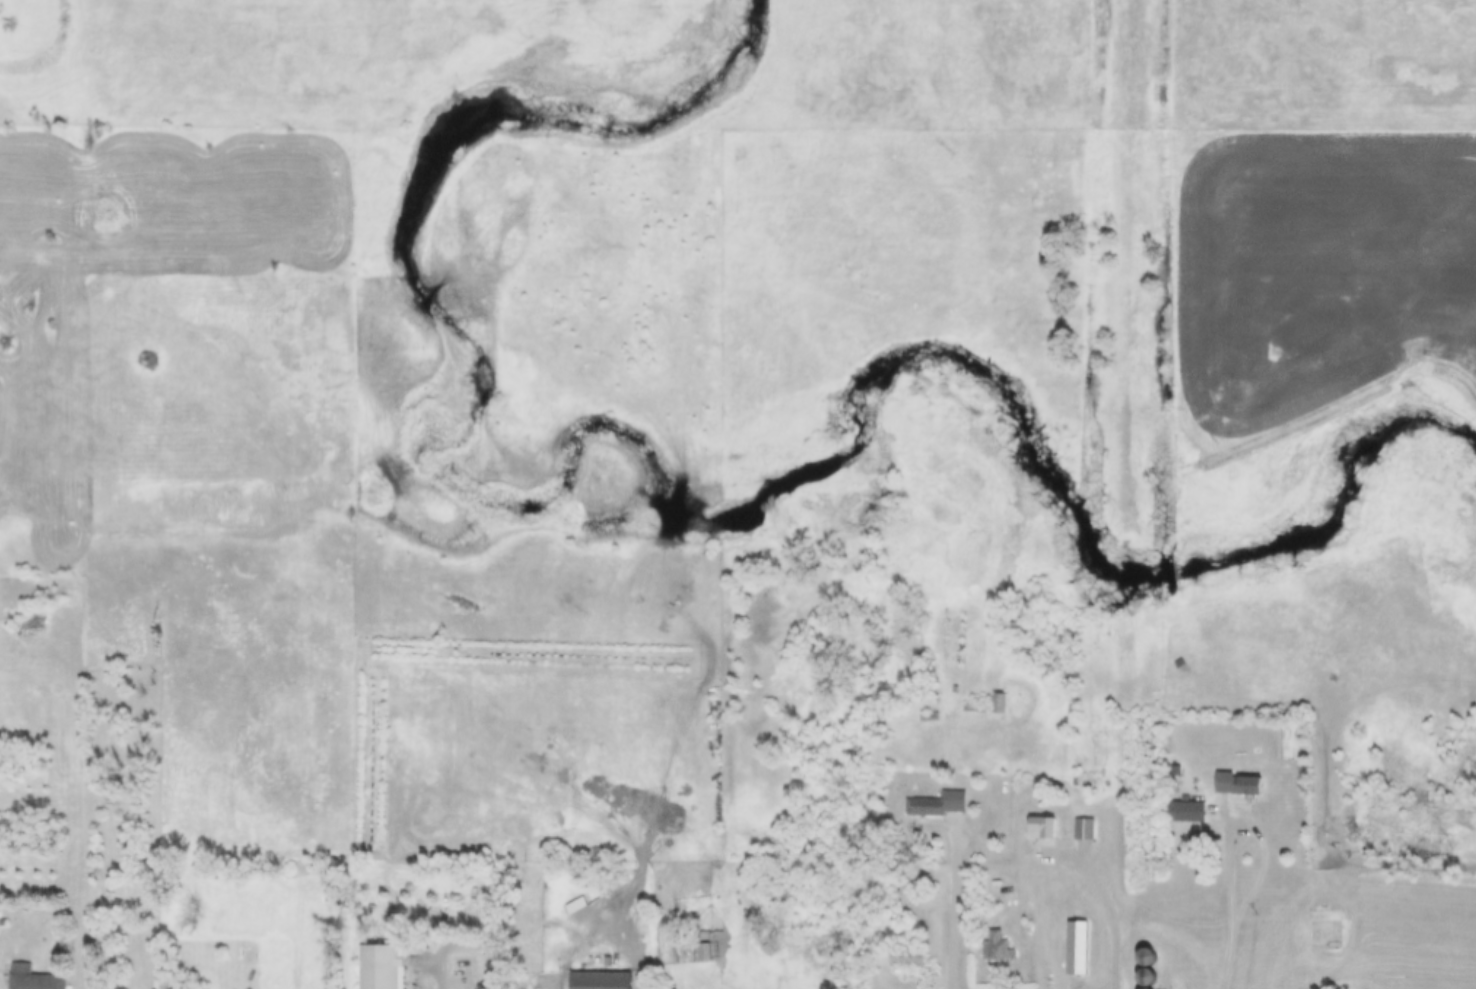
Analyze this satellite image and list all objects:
building: (998, 702)
building: (1237, 783)
building: (937, 804)
building: (1185, 810)
building: (1041, 827)
building: (1082, 829)
road: (1232, 893)
road: (1109, 898)
road: (955, 906)
road: (1183, 932)
building: (1324, 934)
building: (996, 947)
building: (1075, 947)
building: (702, 953)
road: (464, 958)
building: (905, 958)
building: (1146, 966)
building: (378, 967)
building: (31, 978)
building: (598, 980)

